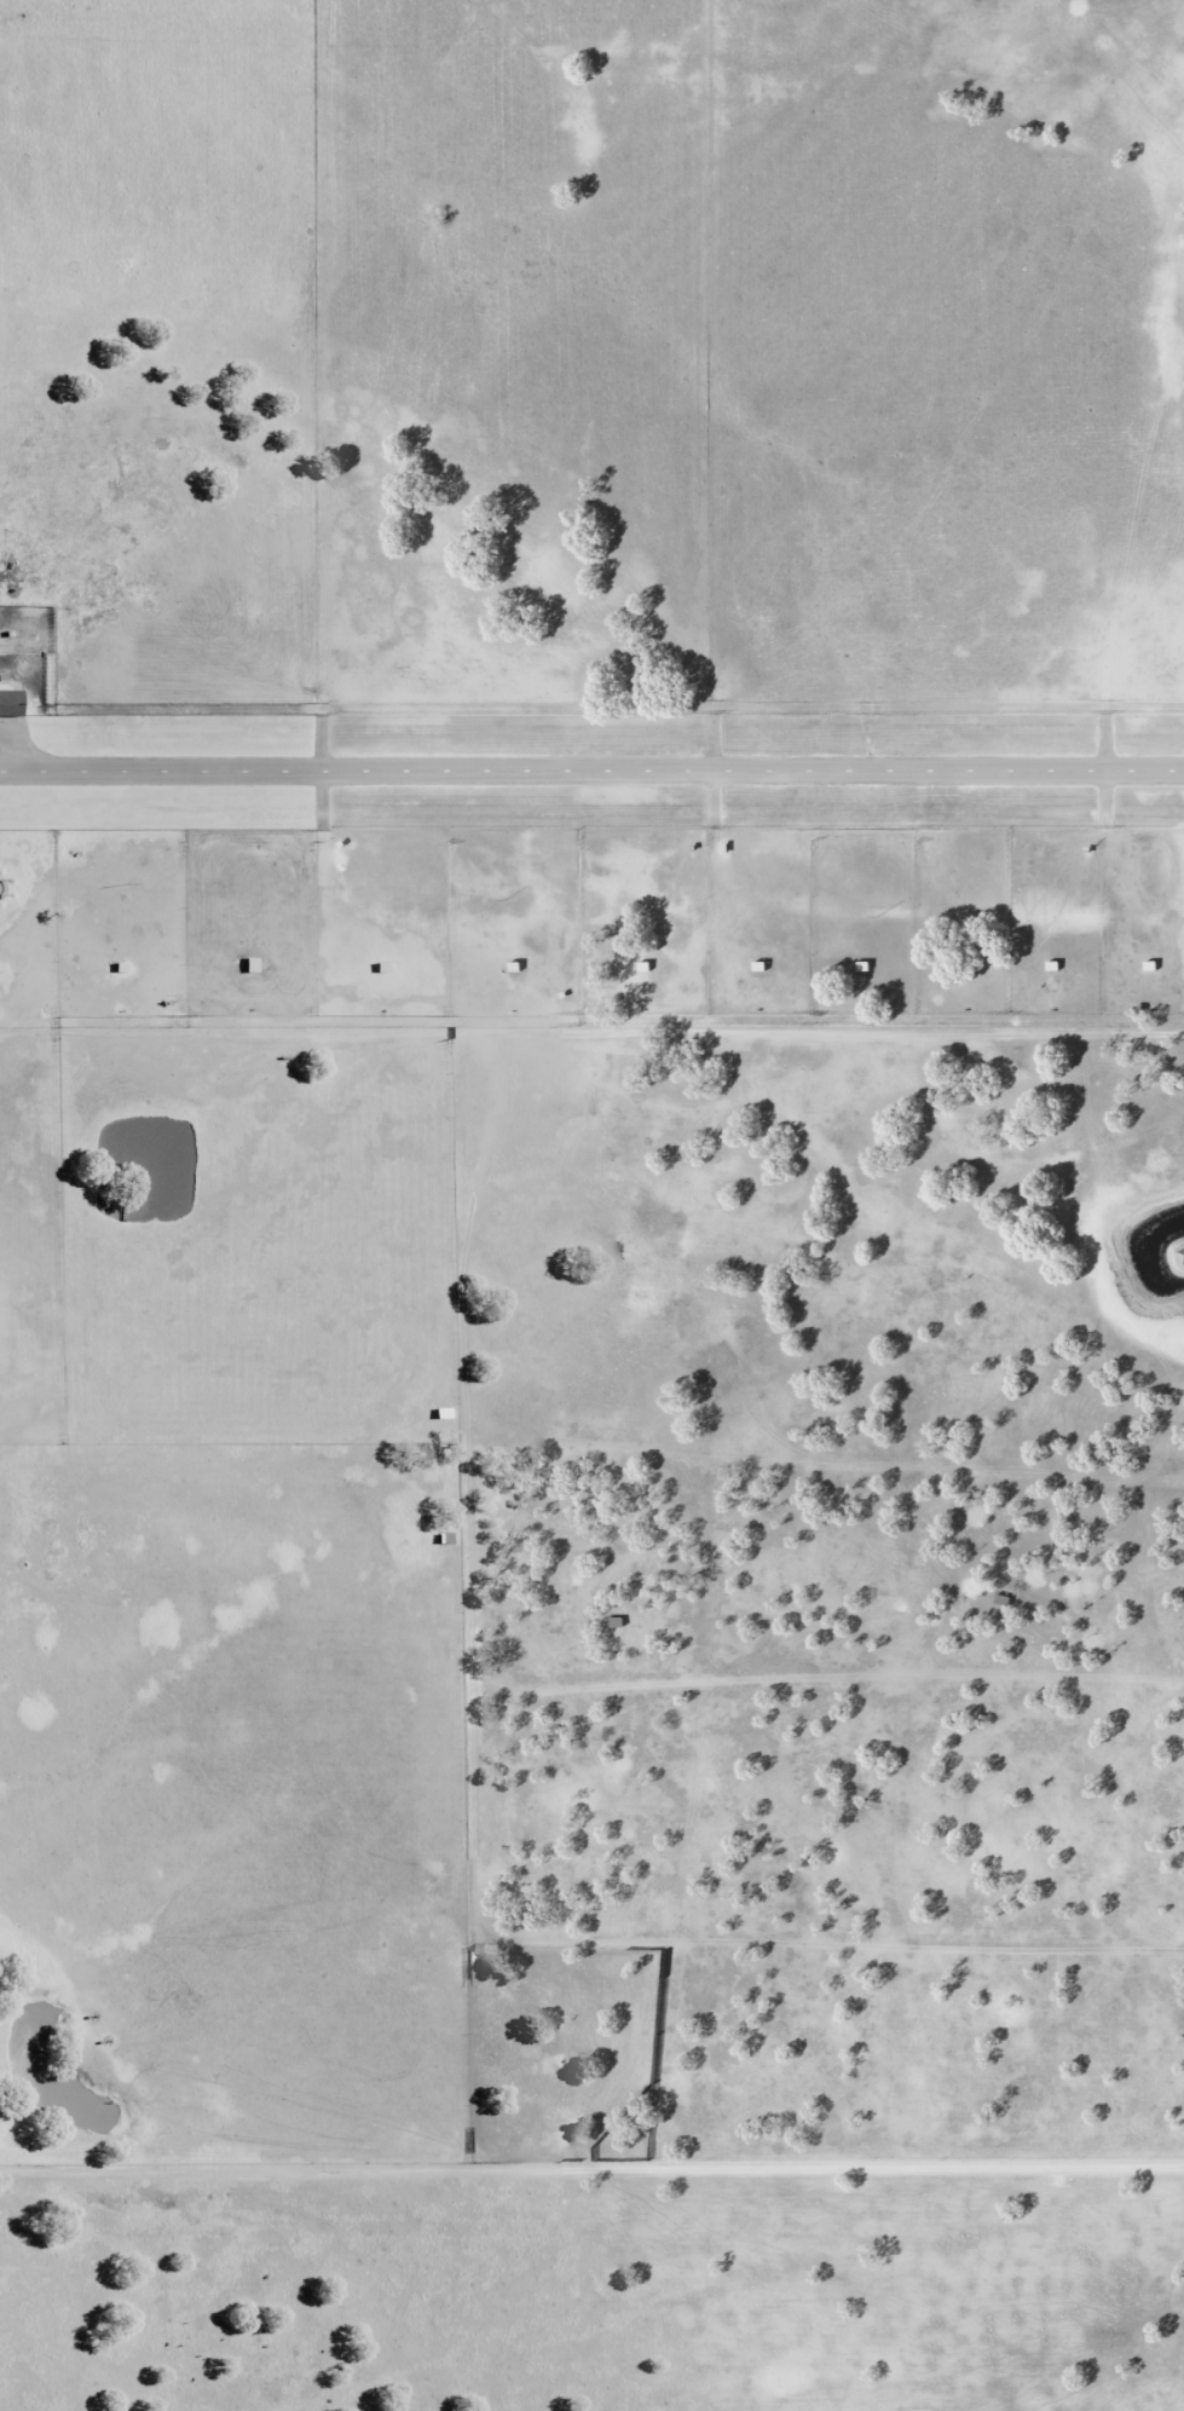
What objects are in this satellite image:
building: (11, 703)
airport runway: (591, 771)
road: (591, 771)

